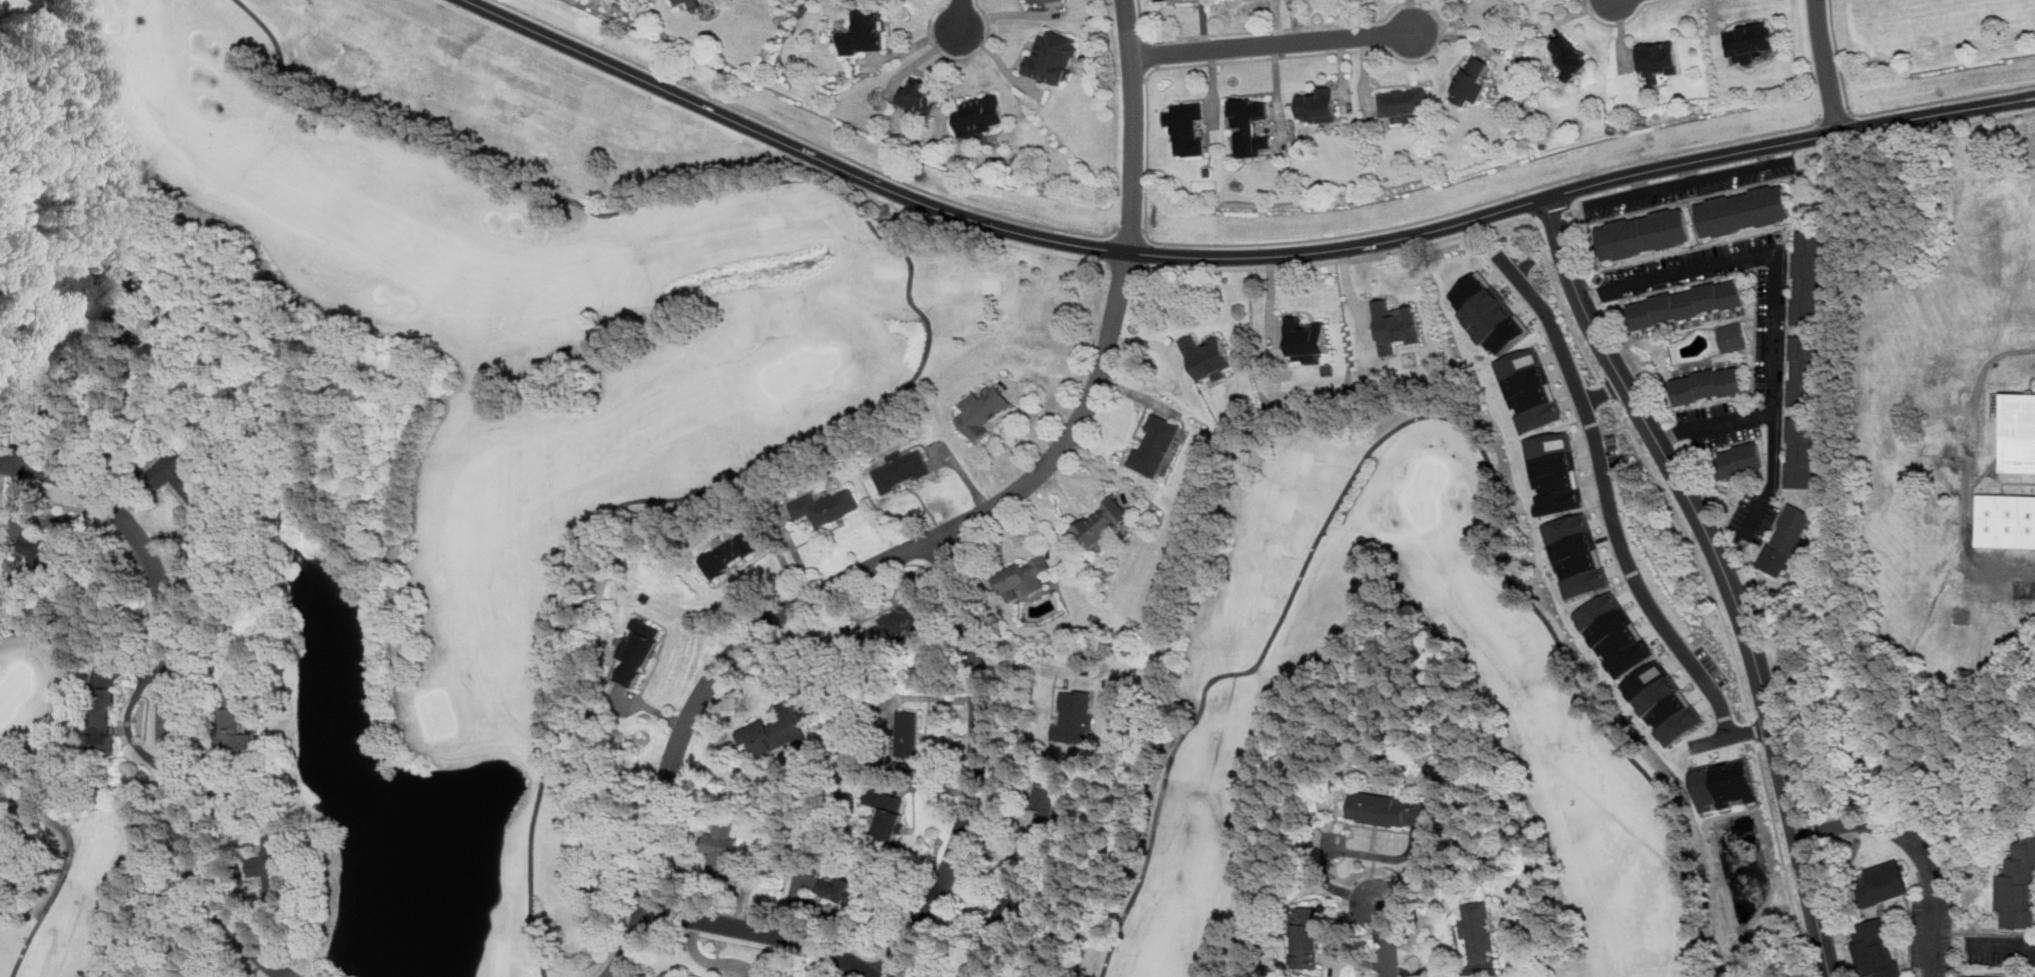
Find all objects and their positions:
building: (1156, 0)
building: (1039, 1)
building: (692, 3)
road: (942, 13)
road: (958, 13)
road: (1573, 13)
road: (1005, 14)
road: (1417, 15)
road: (1409, 16)
road: (1293, 20)
road: (1276, 21)
road: (1619, 22)
road: (1202, 24)
road: (1140, 28)
road: (1133, 30)
road: (1713, 31)
building: (865, 33)
road: (1621, 33)
road: (1455, 35)
road: (1154, 39)
road: (1270, 42)
building: (1749, 42)
road: (914, 45)
road: (1155, 53)
road: (922, 54)
building: (1570, 56)
building: (1053, 57)
road: (958, 58)
building: (1657, 58)
road: (999, 59)
road: (1156, 65)
road: (987, 66)
road: (1825, 66)
road: (1363, 74)
road: (1136, 78)
road: (1144, 78)
road: (1343, 78)
building: (1472, 78)
road: (1213, 84)
building: (921, 94)
road: (1277, 94)
building: (1404, 100)
building: (1317, 105)
street lamp: (1852, 106)
road: (1886, 109)
road: (1851, 113)
building: (981, 115)
road: (1835, 116)
road: (1968, 119)
building: (1249, 126)
building: (1186, 127)
road: (801, 137)
road: (1787, 141)
road: (1146, 163)
road: (1691, 170)
road: (1685, 180)
road: (1640, 181)
road: (1537, 205)
building: (1745, 209)
road: (1531, 215)
road: (987, 223)
road: (1129, 228)
road: (1143, 229)
building: (1646, 233)
building: (1809, 277)
road: (1775, 293)
building: (85, 298)
building: (1688, 304)
building: (1489, 313)
road: (23, 318)
building: (1395, 325)
building: (1732, 336)
building: (1307, 339)
road: (927, 341)
building: (1208, 357)
park: (801, 370)
building: (1806, 371)
road: (2029, 382)
building: (1708, 386)
building: (1530, 390)
road: (1602, 392)
park: (497, 395)
road: (30, 408)
building: (982, 411)
road: (1417, 415)
road: (1620, 415)
road: (1713, 422)
building: (2016, 431)
building: (1801, 452)
building: (1735, 462)
road: (1968, 467)
building: (901, 469)
building: (1554, 473)
road: (2007, 481)
building: (184, 482)
road: (1970, 484)
road: (1999, 487)
park: (1426, 491)
road: (1606, 497)
building: (826, 506)
building: (2004, 520)
building: (1104, 524)
building: (200, 529)
road: (947, 530)
building: (1786, 539)
building: (727, 555)
building: (1577, 555)
road: (1724, 573)
building: (1025, 575)
building: (896, 624)
building: (1615, 633)
building: (637, 650)
road: (1021, 664)
park: (1234, 676)
park: (16, 689)
road: (166, 691)
building: (1663, 702)
building: (231, 714)
building: (1074, 717)
building: (97, 723)
building: (775, 730)
building: (909, 733)
road: (1733, 734)
road: (974, 766)
building: (1724, 784)
road: (936, 787)
building: (1047, 807)
building: (1387, 809)
building: (887, 811)
park: (54, 824)
road: (1917, 847)
building: (719, 850)
road: (49, 868)
building: (274, 869)
building: (2015, 880)
building: (1879, 883)
building: (846, 887)
building: (2029, 895)
building: (1009, 912)
building: (1478, 929)
road: (764, 934)
building: (1306, 937)
road: (1381, 941)
road: (2002, 943)
building: (1887, 946)
building: (1870, 950)
road: (713, 962)
road: (827, 965)

